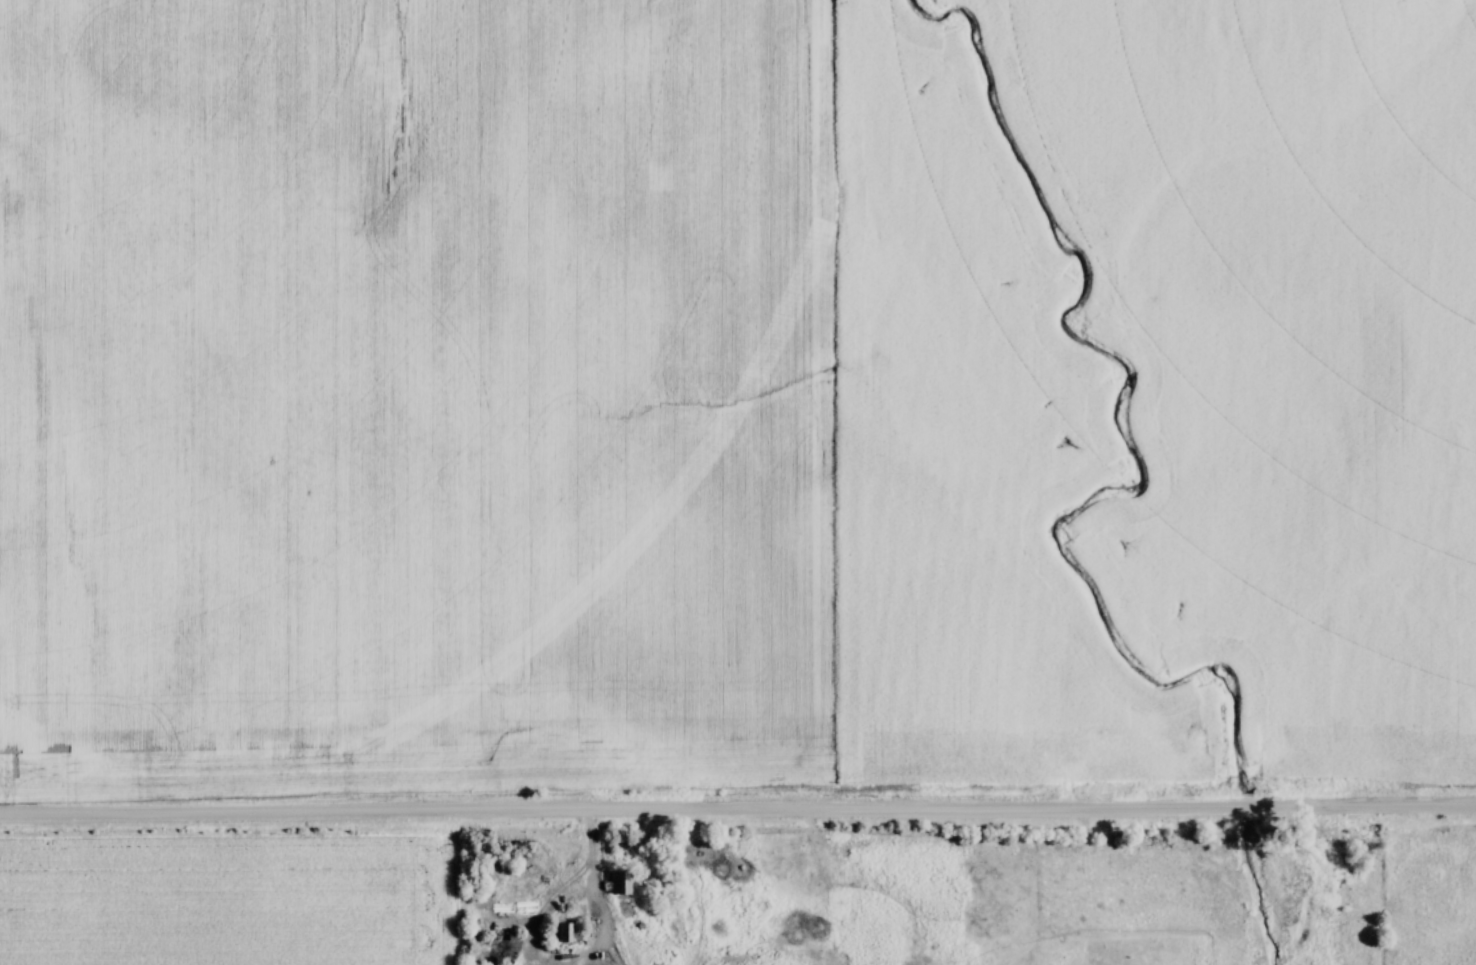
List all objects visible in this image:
road: (738, 810)
building: (620, 882)
building: (656, 917)
building: (571, 933)
building: (514, 937)

